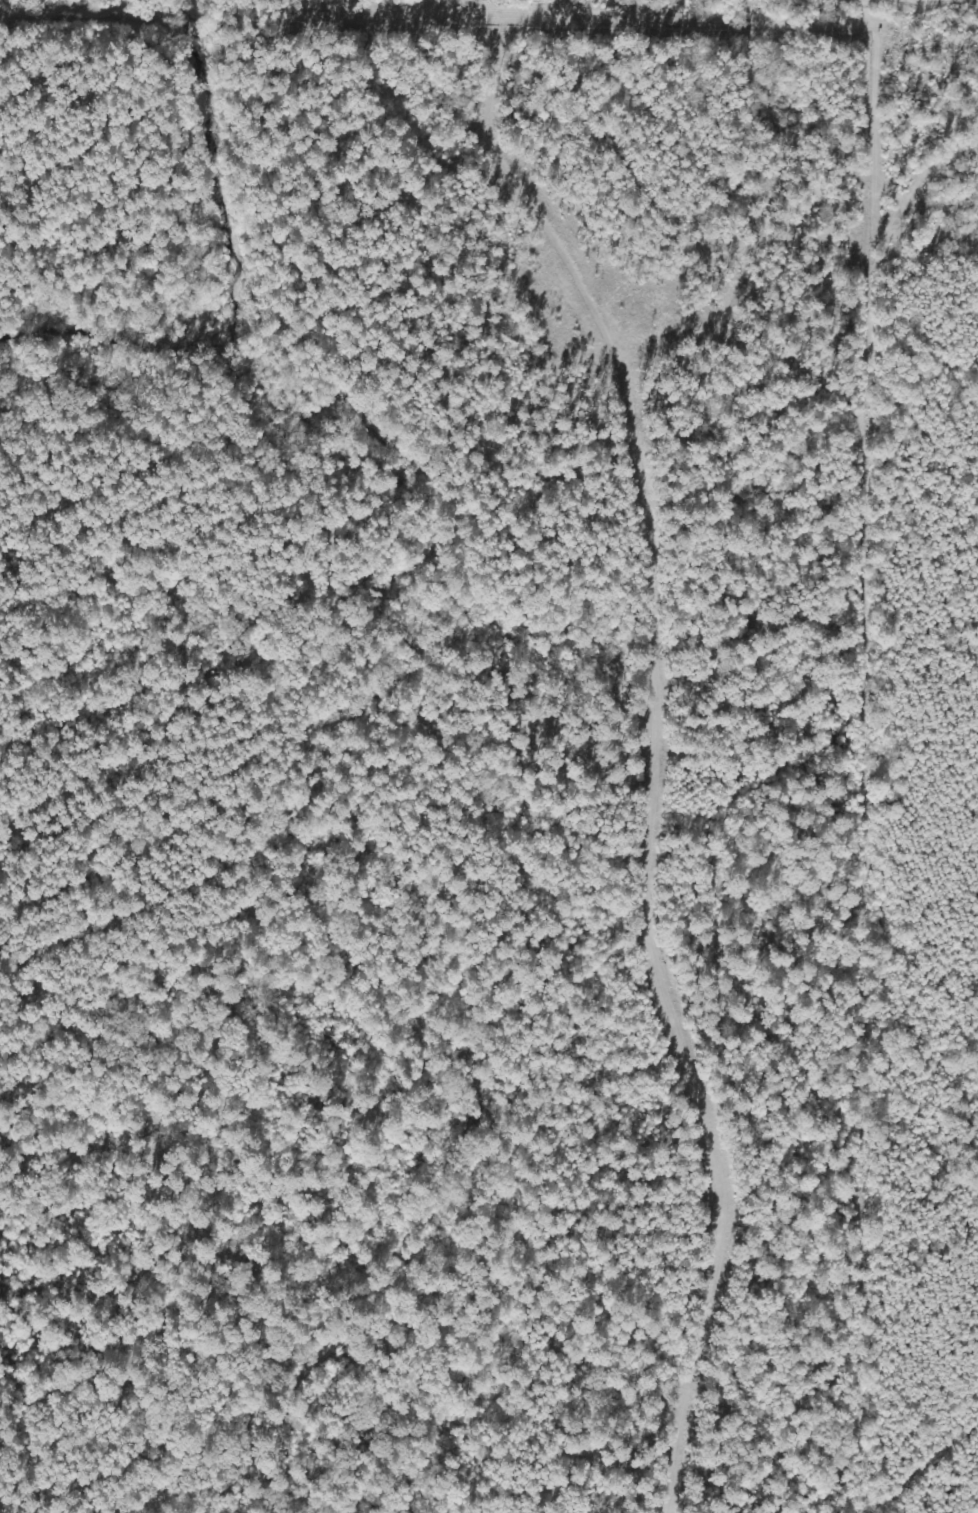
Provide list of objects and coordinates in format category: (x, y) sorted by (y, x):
road: (658, 805)

